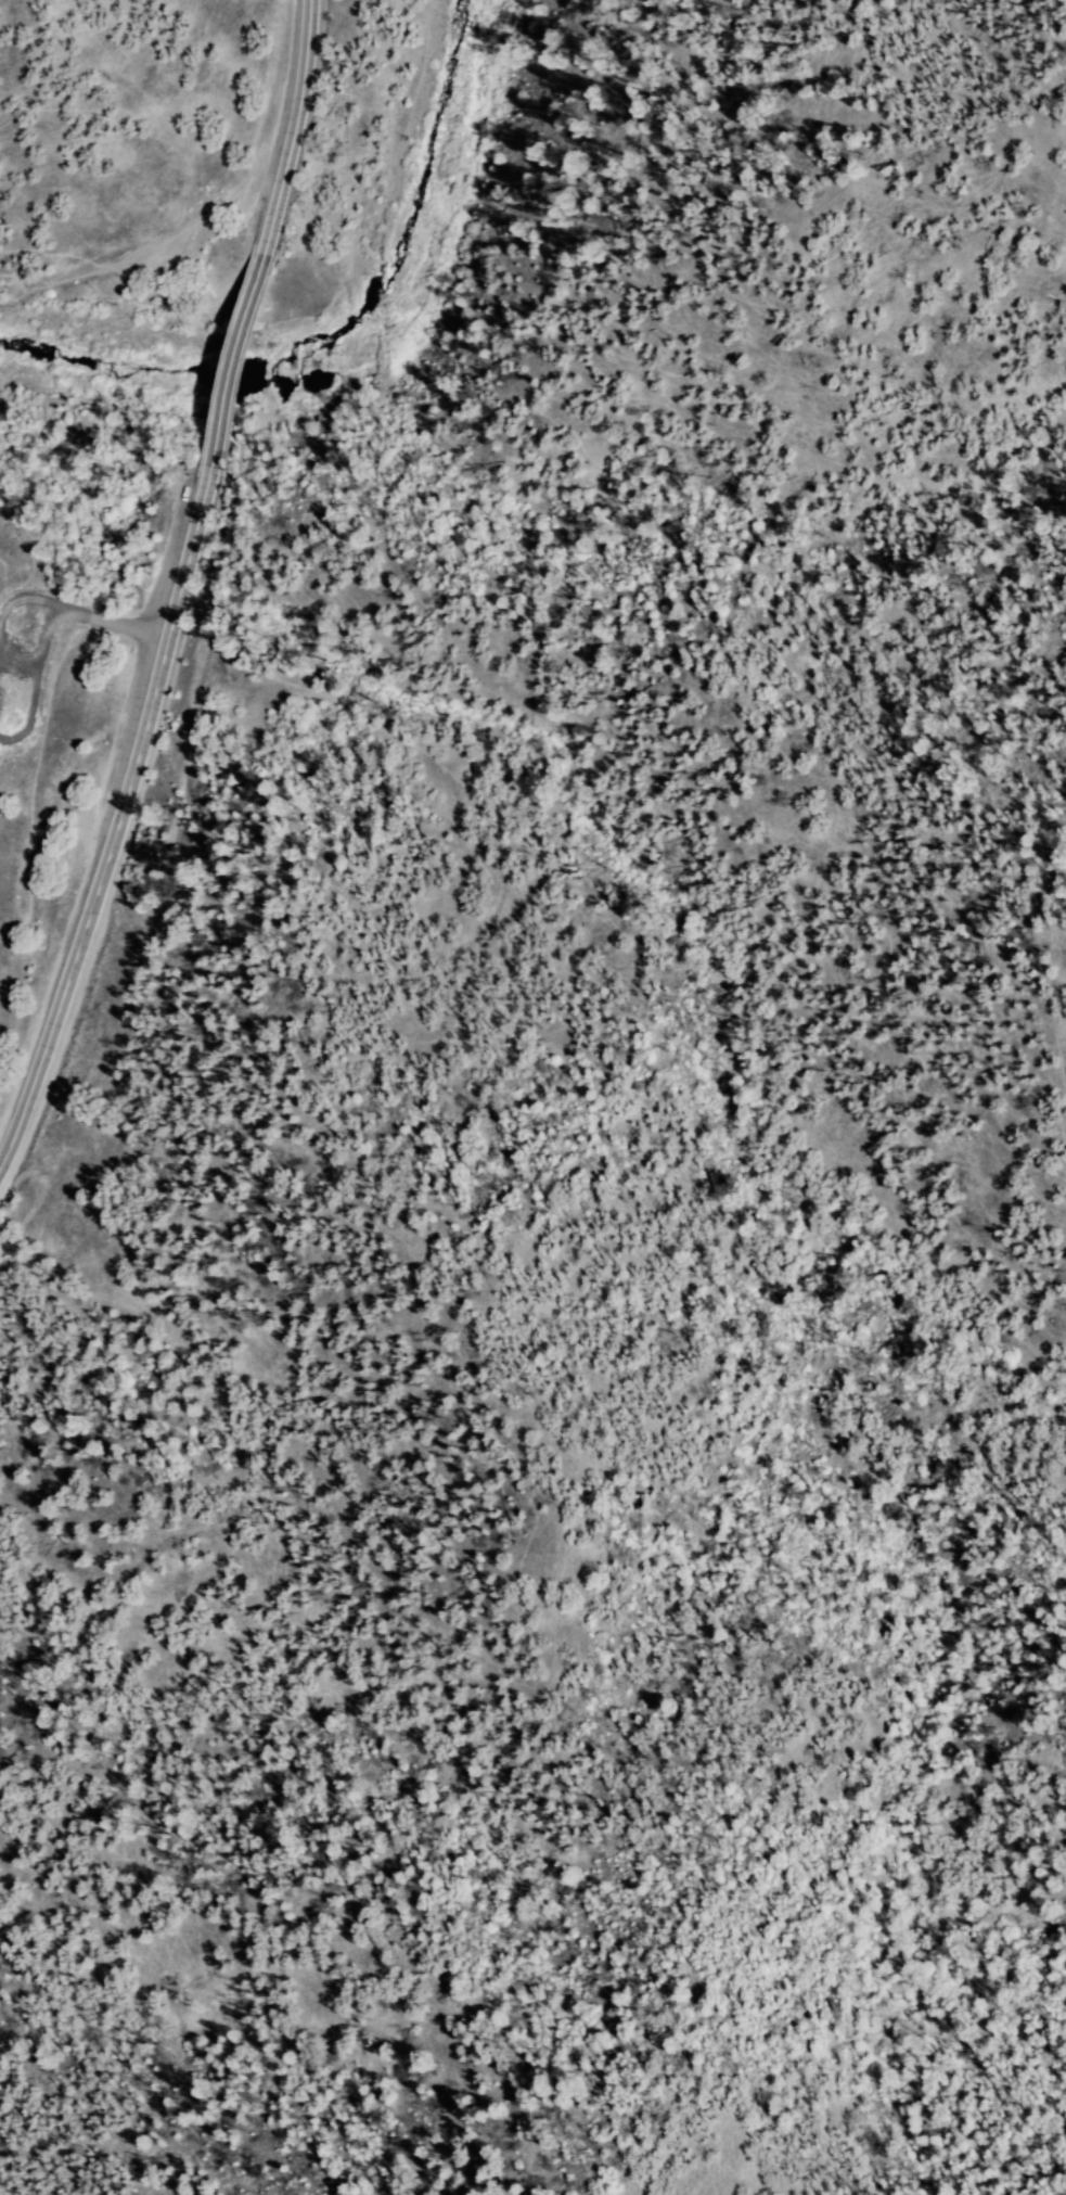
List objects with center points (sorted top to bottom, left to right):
road: (294, 122)
road: (235, 379)
road: (86, 612)
parking lot: (15, 660)
road: (108, 845)

